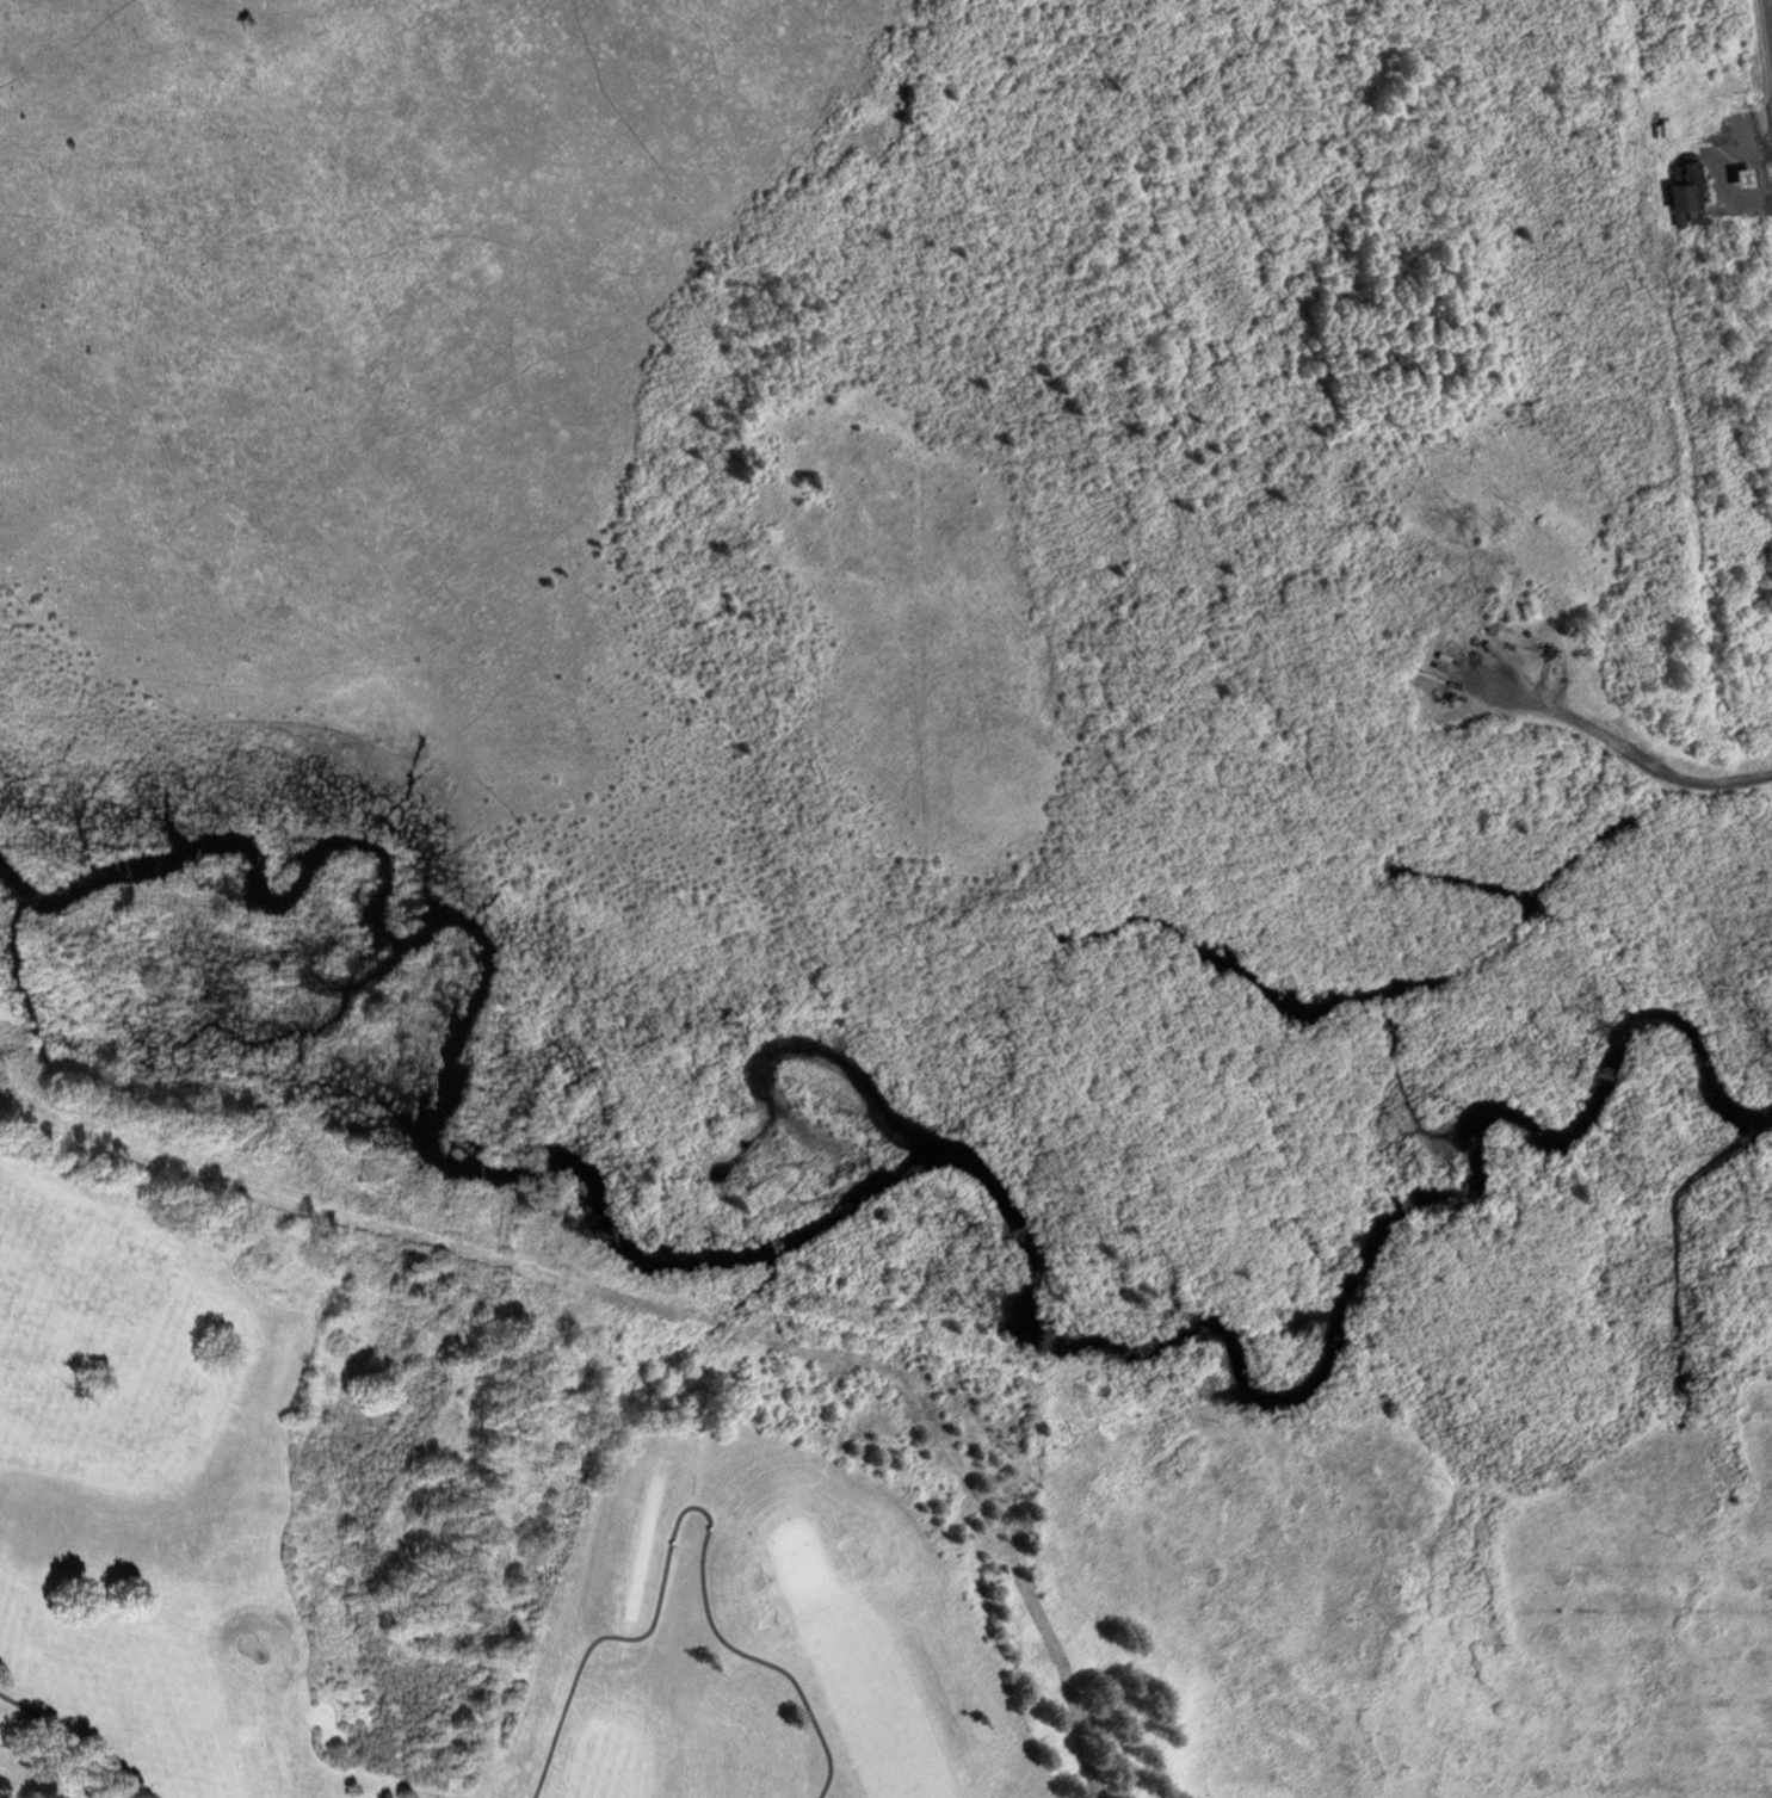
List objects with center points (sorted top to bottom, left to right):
road: (1770, 10)
road: (1722, 175)
building: (1683, 183)
road: (1619, 747)
river: (906, 1147)
park: (138, 1510)
road: (693, 1510)
park: (758, 1642)
road: (62, 1732)

